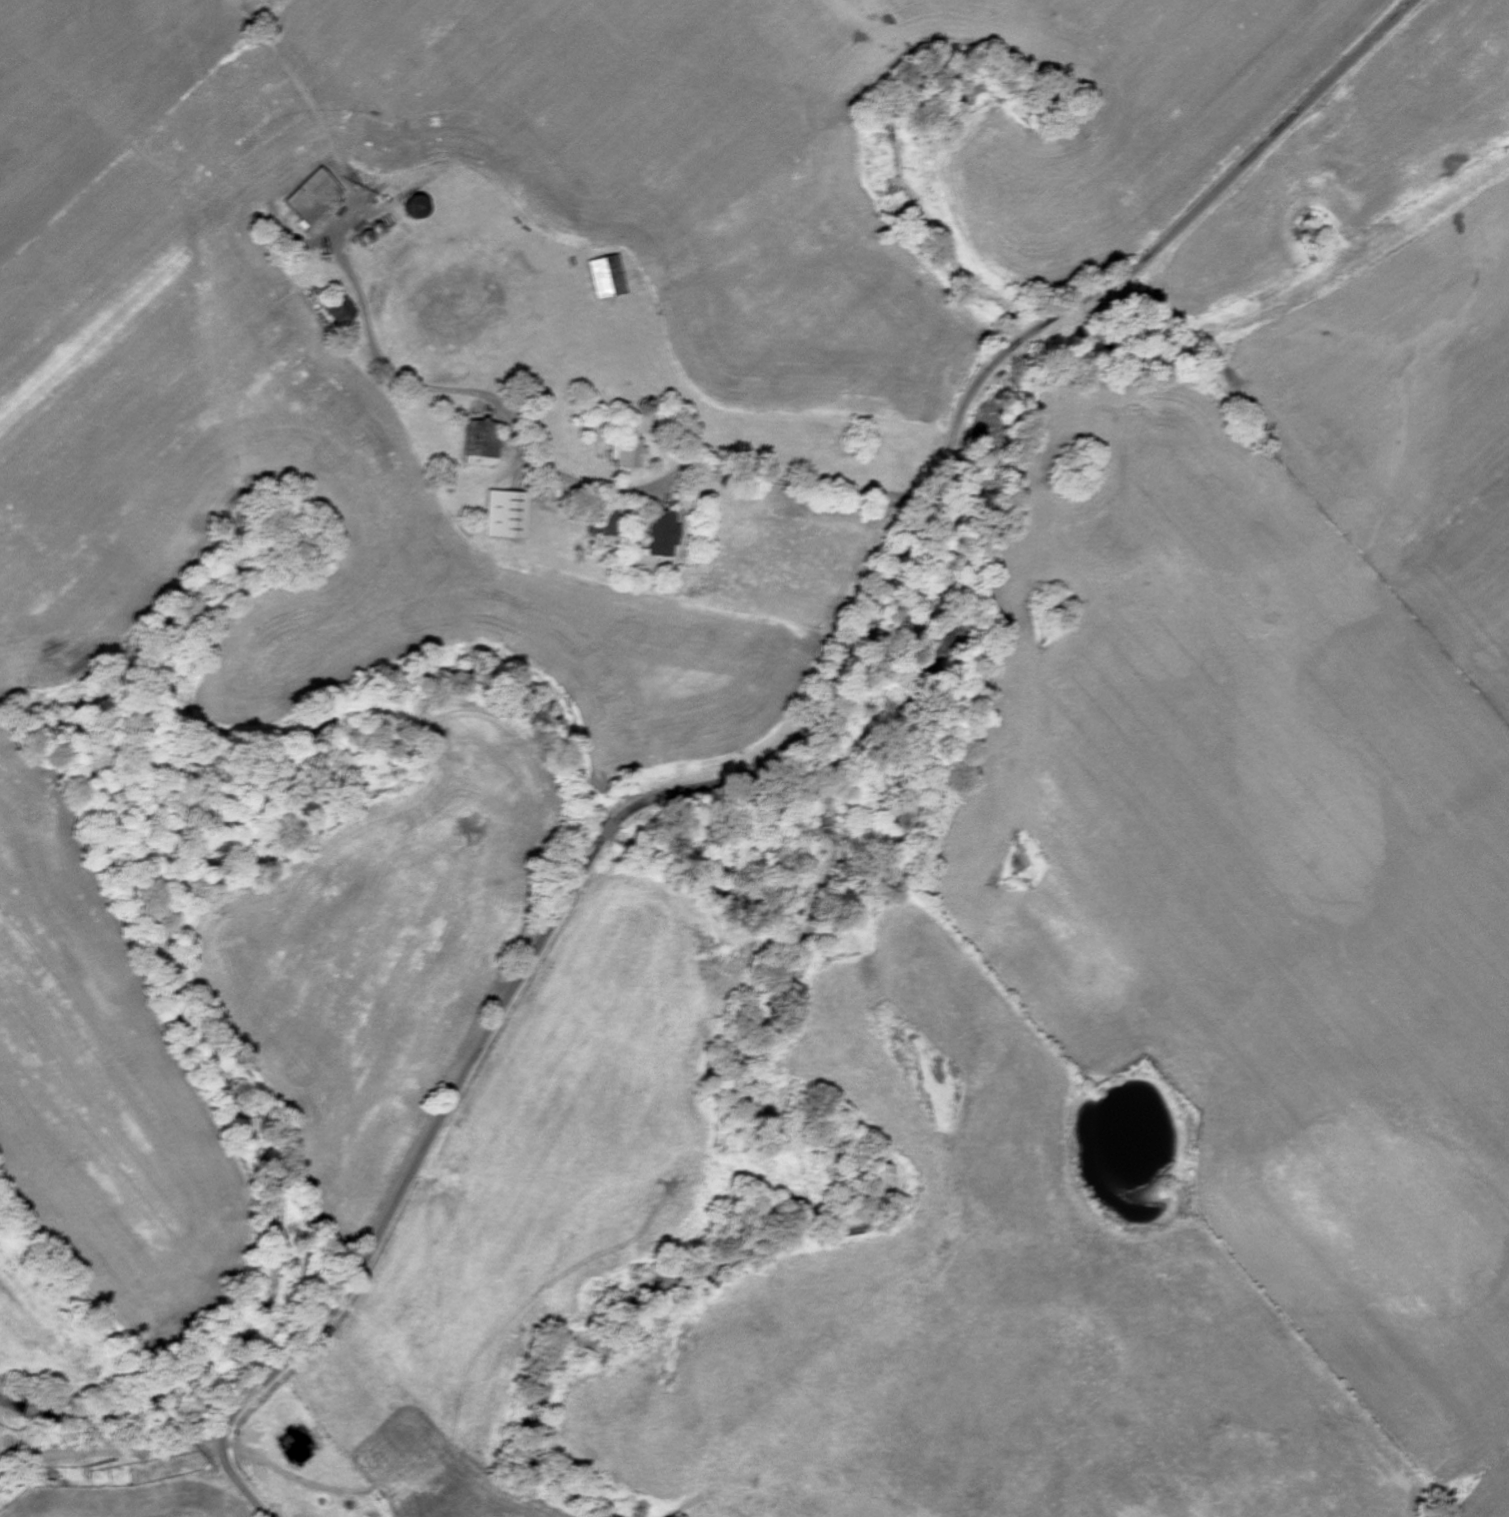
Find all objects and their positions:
building: (313, 198)
building: (415, 209)
building: (607, 277)
building: (483, 445)
building: (627, 455)
road: (757, 470)
building: (507, 516)
building: (663, 535)
road: (782, 758)

